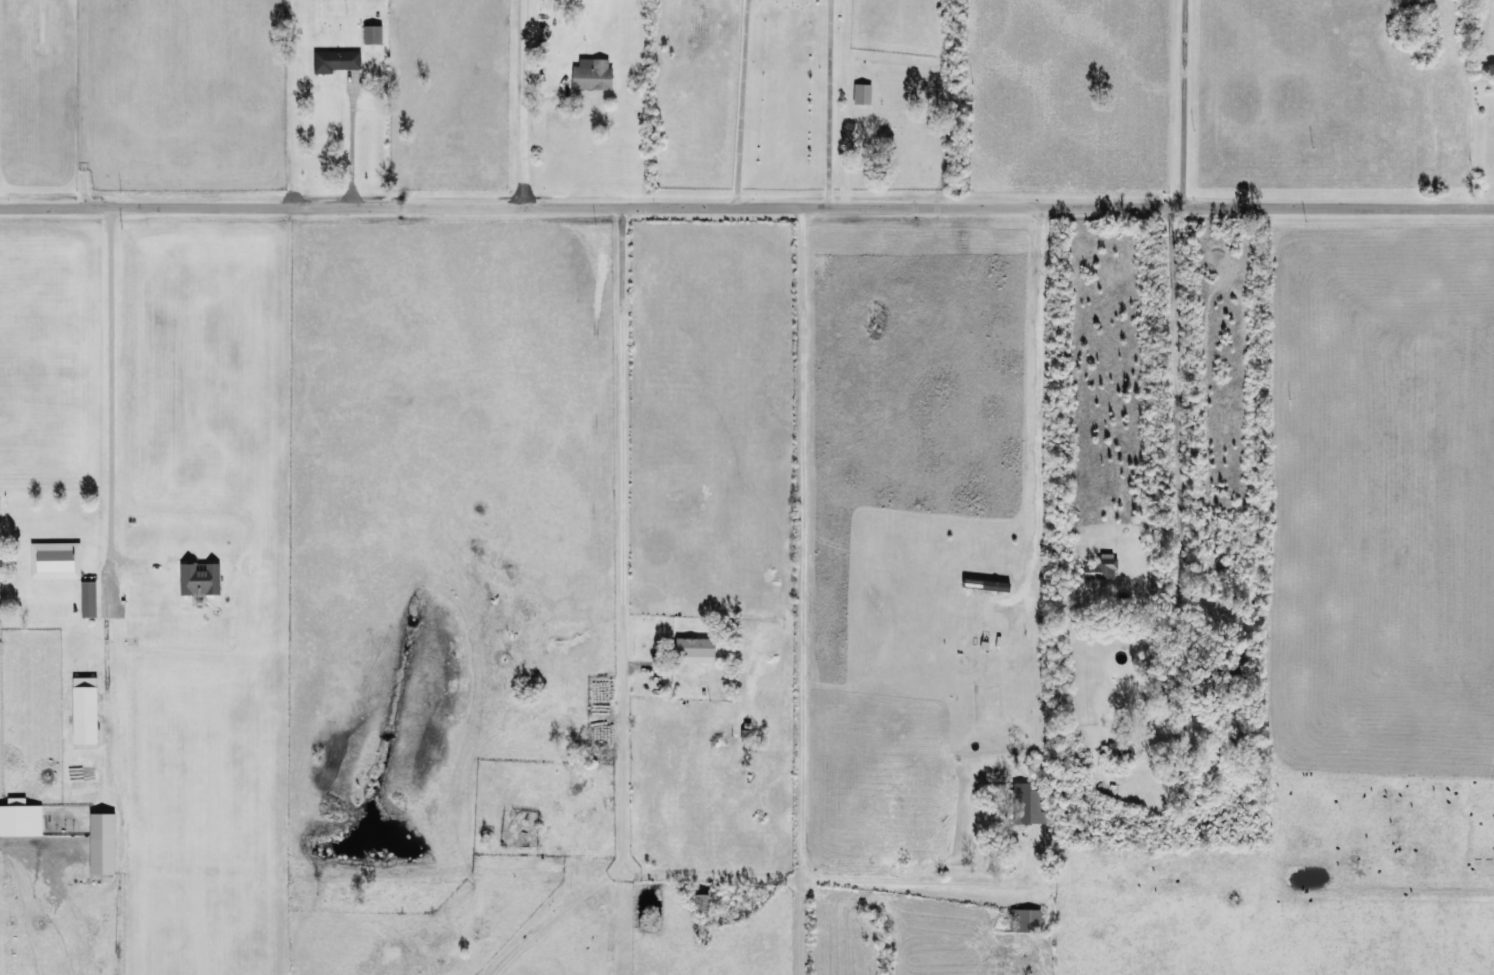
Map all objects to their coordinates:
building: (372, 34)
building: (336, 60)
building: (591, 74)
building: (861, 93)
road: (746, 222)
road: (1181, 439)
building: (54, 560)
road: (664, 568)
building: (1101, 568)
building: (199, 578)
building: (985, 584)
building: (87, 599)
building: (984, 642)
building: (694, 650)
building: (84, 710)
building: (1028, 805)
building: (20, 817)
building: (101, 842)
building: (700, 901)
building: (1024, 919)

